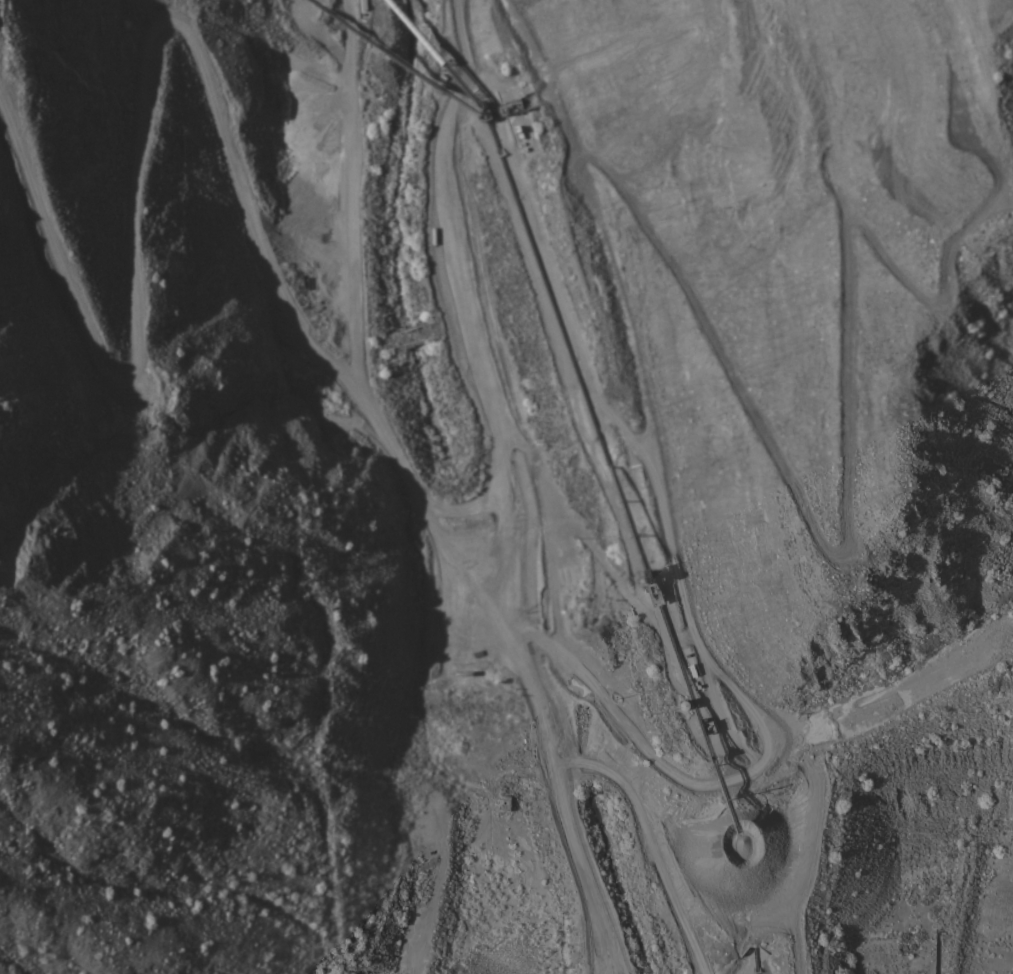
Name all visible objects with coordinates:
road: (543, 30)
road: (460, 45)
building: (918, 255)
building: (567, 305)
road: (734, 401)
road: (489, 442)
quarry: (519, 472)
road: (518, 480)
building: (505, 803)

